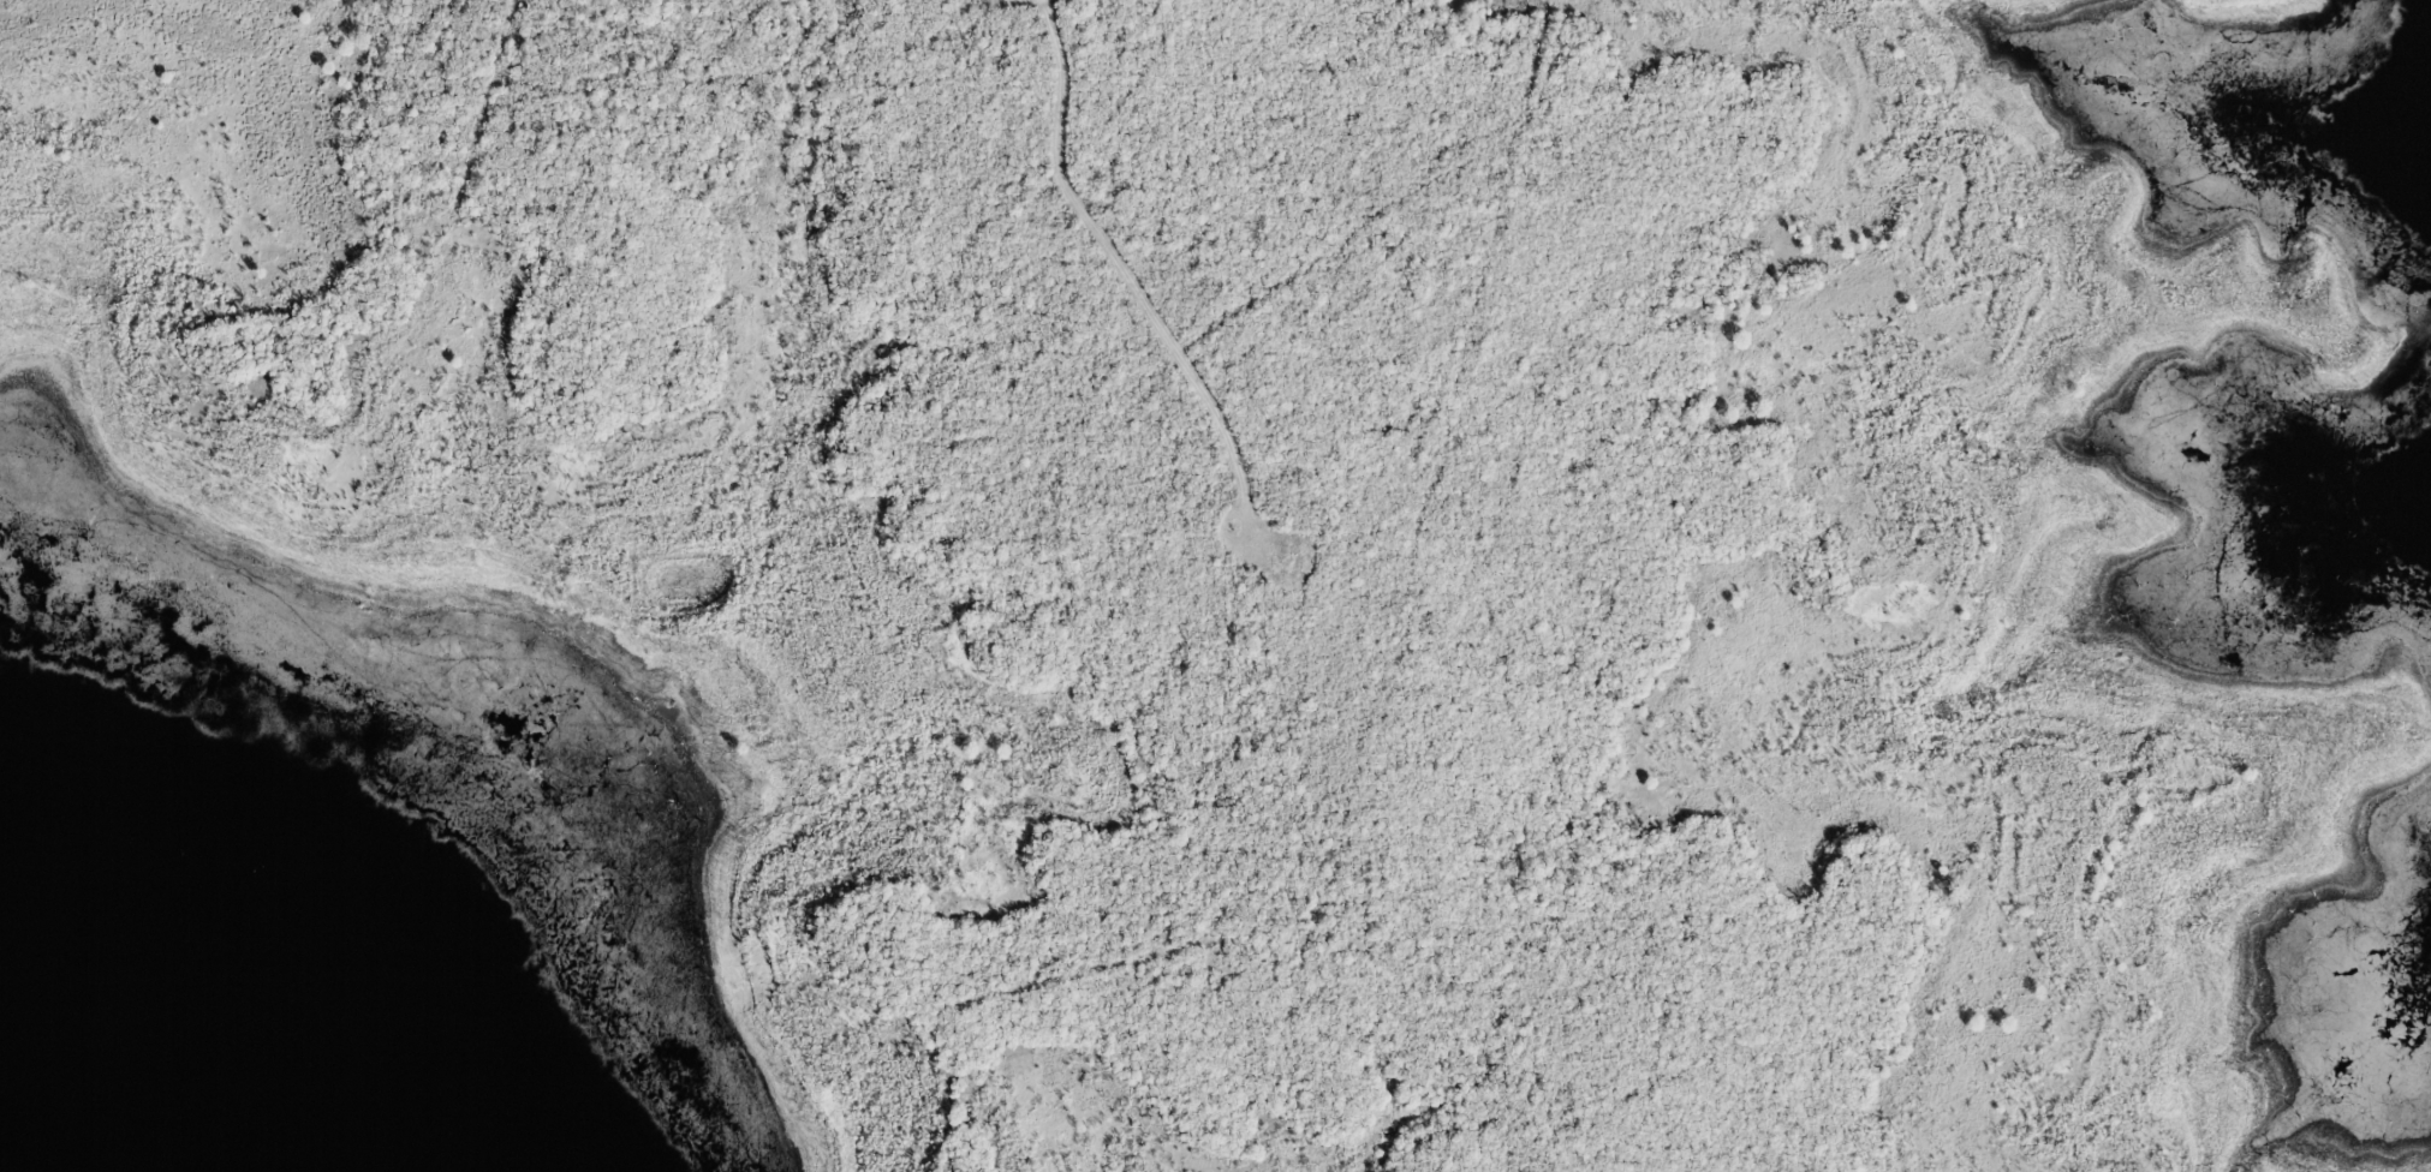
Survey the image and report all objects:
road: (1107, 255)

